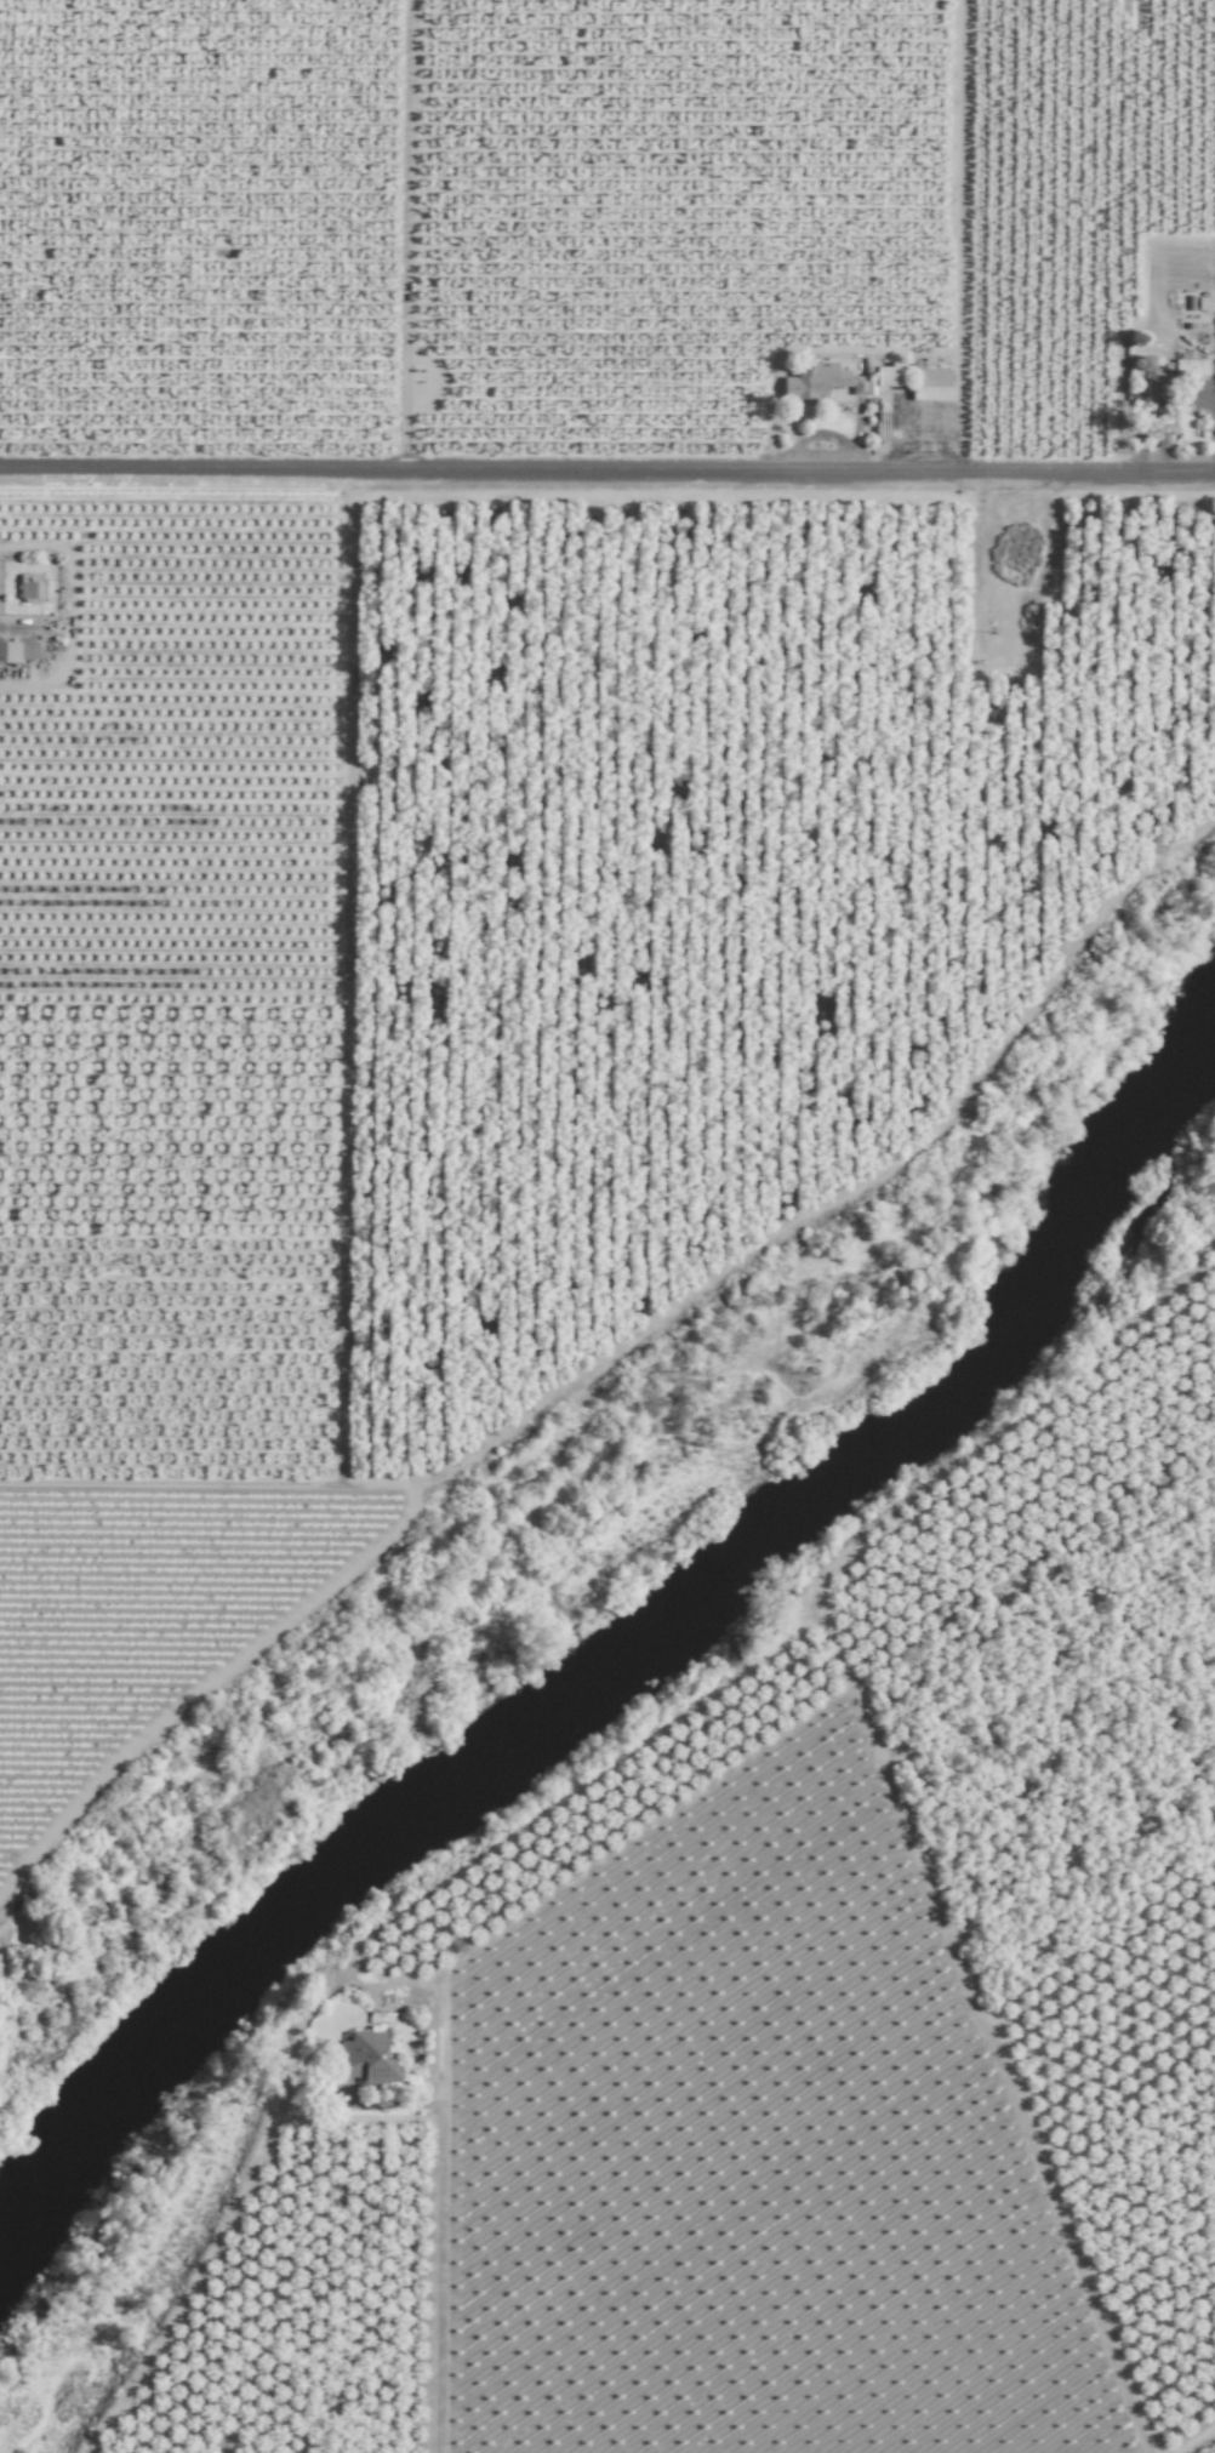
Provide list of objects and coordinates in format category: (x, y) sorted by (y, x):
building: (1190, 366)
building: (1151, 371)
building: (889, 373)
building: (818, 381)
building: (930, 383)
road: (607, 466)
building: (30, 586)
road: (12, 629)
building: (18, 651)
crop: (529, 708)
crop: (798, 2016)
building: (365, 2058)
road: (443, 2267)

